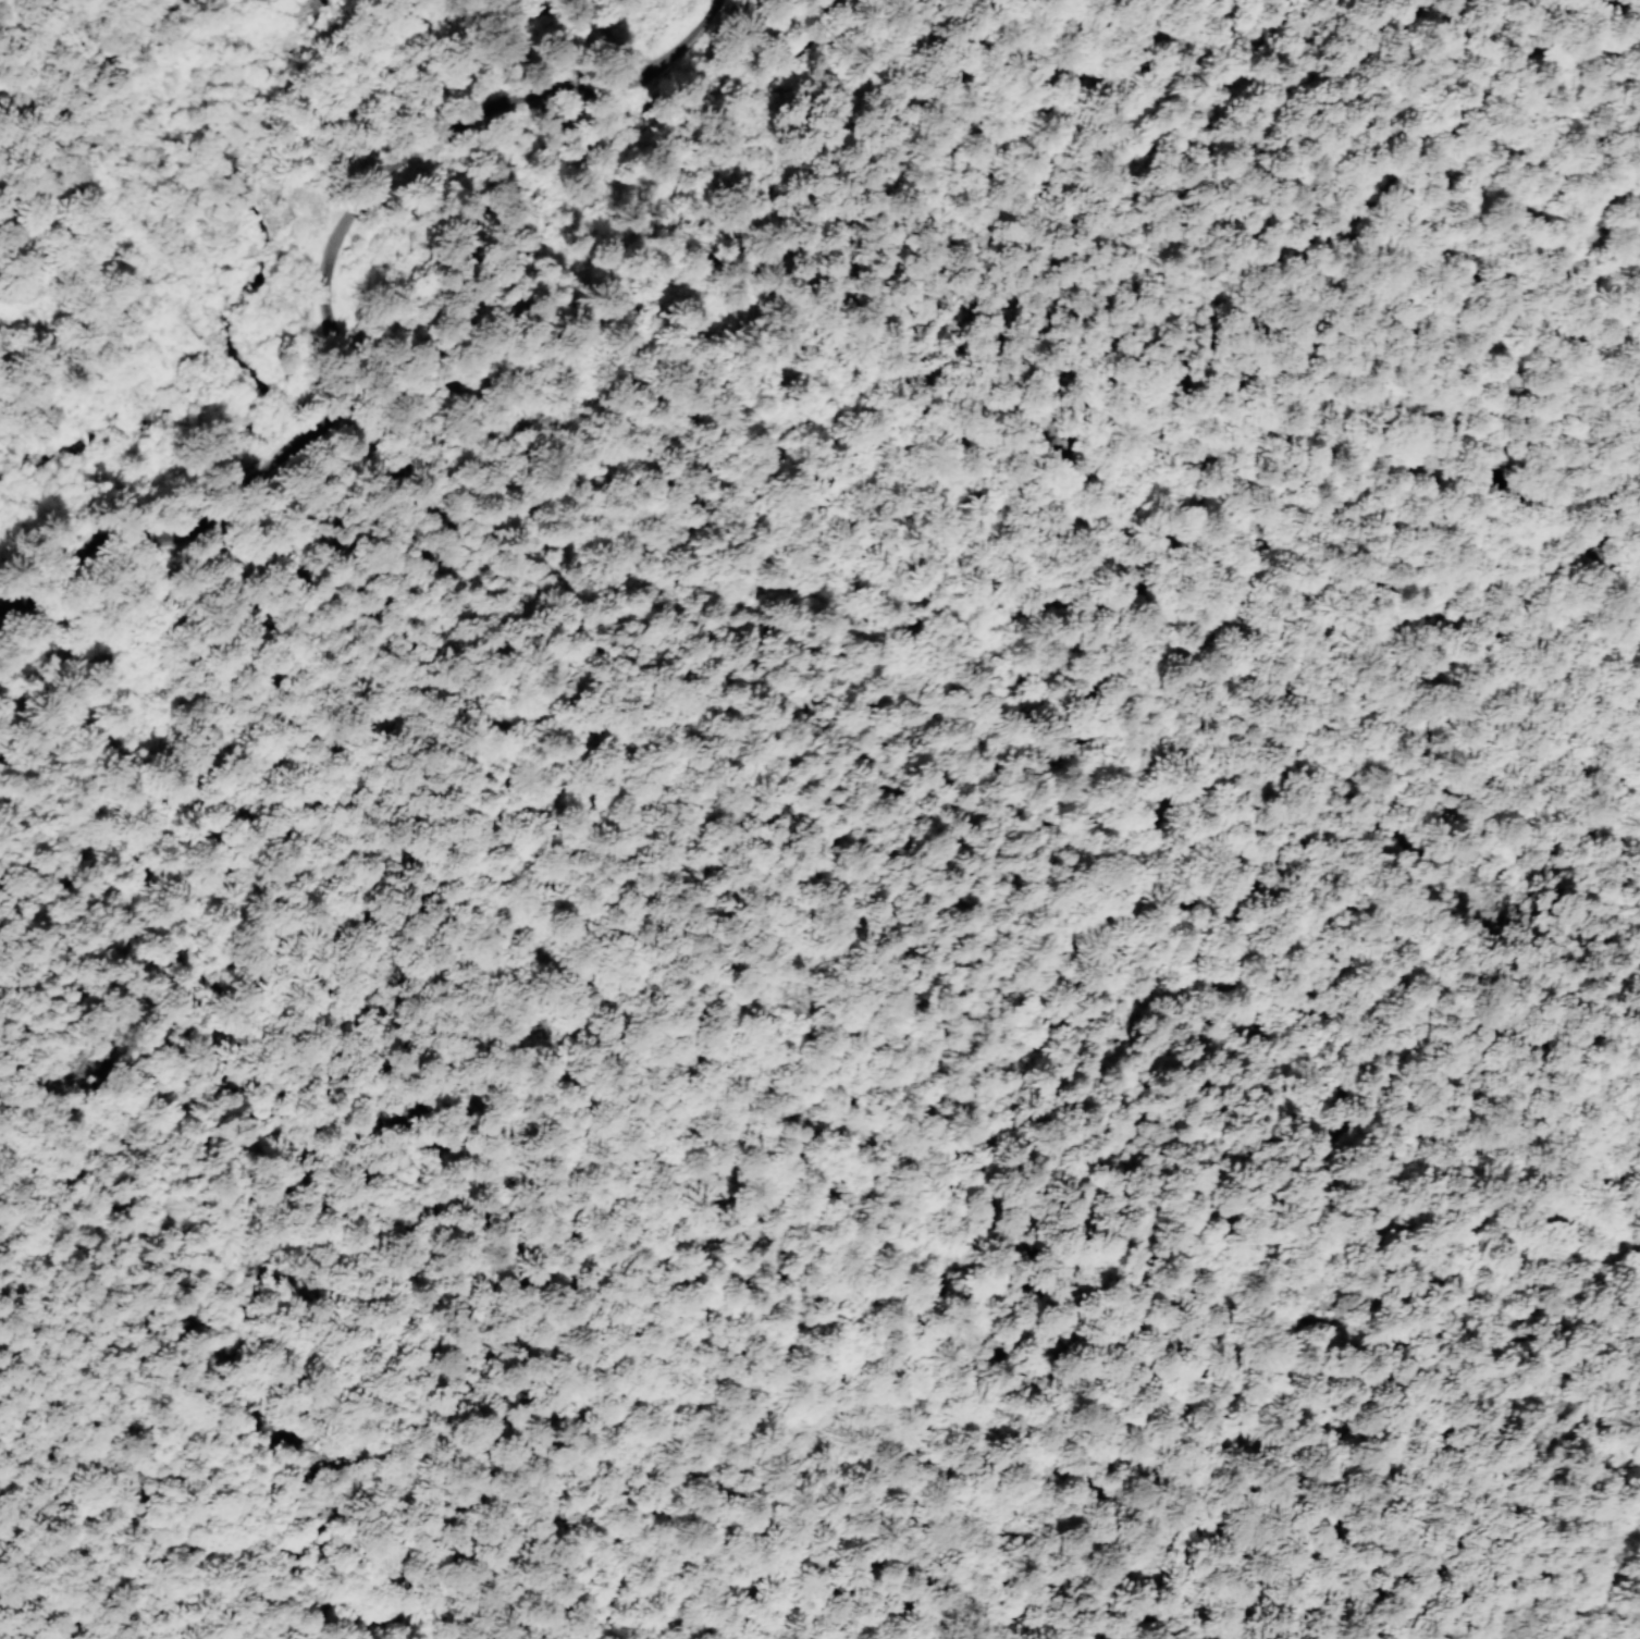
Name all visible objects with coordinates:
road: (324, 284)

